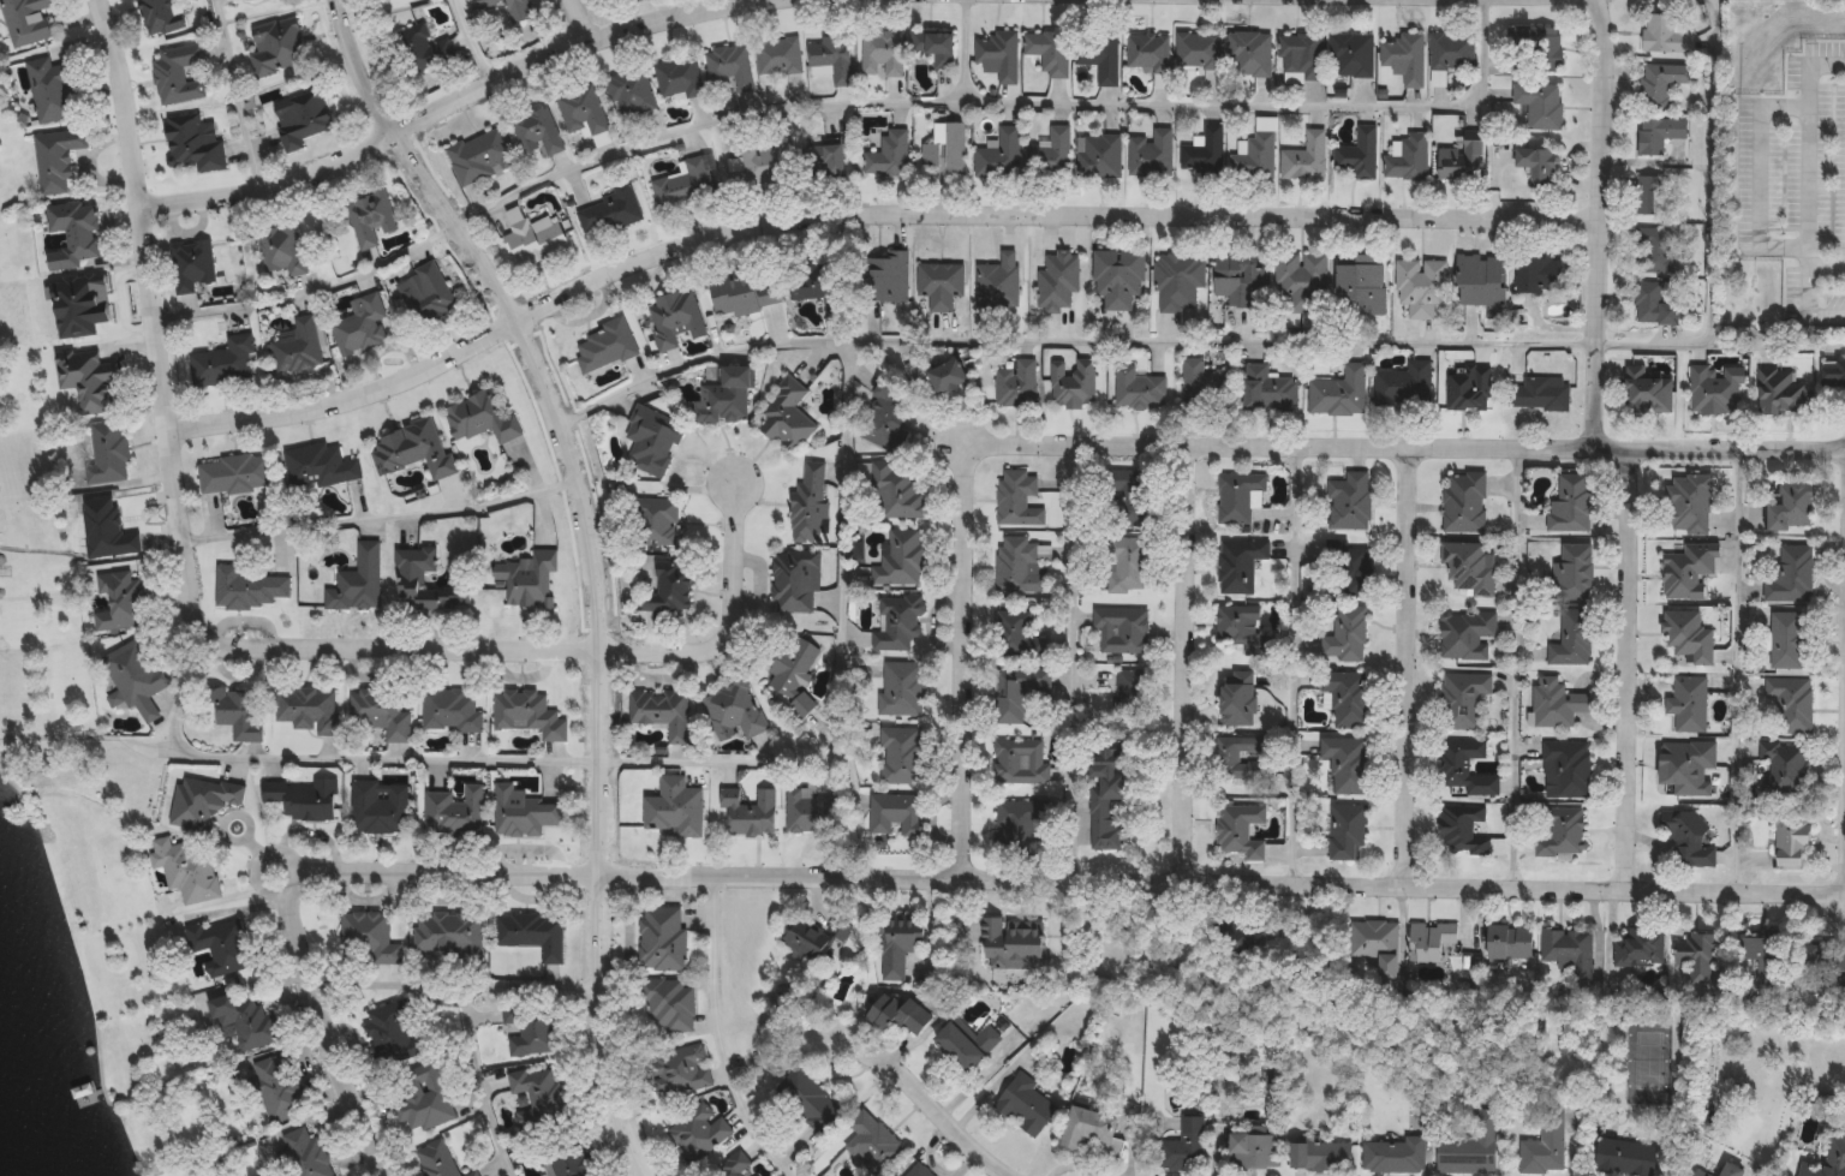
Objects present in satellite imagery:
building: (233, 0)
building: (384, 0)
road: (681, 7)
building: (512, 12)
building: (162, 16)
road: (581, 20)
building: (1665, 35)
road: (468, 42)
building: (1536, 46)
building: (935, 48)
building: (276, 49)
building: (422, 49)
building: (1050, 52)
building: (1198, 52)
building: (1148, 53)
building: (882, 54)
building: (999, 54)
building: (1099, 55)
building: (1249, 55)
building: (1351, 55)
building: (1450, 55)
building: (1301, 56)
building: (778, 58)
building: (832, 58)
building: (1405, 58)
building: (729, 68)
building: (178, 73)
building: (679, 79)
building: (1661, 84)
building: (49, 90)
road: (232, 95)
building: (629, 95)
road: (447, 101)
road: (846, 101)
building: (1540, 106)
building: (583, 114)
building: (301, 121)
building: (536, 132)
building: (1658, 135)
building: (191, 144)
building: (1047, 147)
building: (944, 151)
building: (1151, 154)
building: (1256, 154)
building: (1202, 155)
building: (1357, 155)
building: (479, 156)
building: (889, 156)
building: (999, 156)
building: (1098, 157)
building: (1306, 159)
building: (1408, 159)
building: (56, 160)
building: (820, 161)
building: (1461, 161)
building: (760, 163)
building: (1537, 166)
road: (1714, 172)
road: (1804, 177)
building: (686, 185)
building: (1650, 196)
building: (610, 213)
road: (861, 216)
building: (369, 217)
road: (1595, 223)
building: (72, 234)
building: (533, 238)
building: (281, 251)
building: (1653, 251)
building: (191, 265)
building: (1539, 275)
building: (884, 277)
building: (1118, 277)
building: (1235, 279)
building: (1480, 280)
building: (1057, 281)
building: (1178, 281)
building: (817, 282)
building: (998, 282)
building: (1302, 283)
building: (939, 285)
building: (1420, 286)
building: (1360, 288)
building: (428, 296)
building: (742, 297)
building: (1652, 305)
building: (673, 318)
building: (365, 324)
road: (1335, 344)
building: (298, 346)
building: (604, 346)
building: (222, 362)
building: (1833, 372)
building: (939, 374)
building: (86, 378)
building: (1202, 383)
building: (1016, 384)
building: (1073, 384)
building: (1403, 384)
building: (1139, 389)
building: (1267, 389)
building: (1715, 389)
building: (1468, 390)
building: (1647, 390)
building: (1780, 392)
building: (1338, 393)
building: (1539, 394)
building: (723, 398)
road: (844, 404)
building: (787, 416)
building: (883, 416)
building: (480, 418)
building: (652, 441)
road: (1188, 446)
building: (412, 449)
building: (106, 453)
building: (318, 466)
building: (234, 473)
building: (897, 493)
building: (1129, 496)
building: (1237, 496)
building: (1017, 499)
building: (1349, 502)
building: (1463, 502)
building: (1569, 502)
building: (1686, 502)
building: (808, 505)
building: (1791, 508)
road: (382, 518)
road: (180, 519)
building: (655, 521)
building: (107, 530)
road: (597, 560)
building: (900, 560)
building: (1238, 563)
building: (1125, 565)
building: (1019, 566)
building: (1469, 567)
building: (1348, 571)
building: (1685, 572)
building: (1571, 573)
building: (1791, 575)
building: (526, 579)
building: (795, 580)
building: (357, 581)
building: (422, 583)
building: (669, 589)
building: (246, 590)
building: (119, 601)
building: (898, 622)
road: (730, 623)
building: (1122, 628)
building: (1241, 629)
building: (1467, 634)
building: (1574, 634)
building: (1017, 635)
building: (1345, 635)
building: (1688, 637)
building: (1786, 640)
road: (1074, 663)
road: (1186, 663)
road: (1292, 664)
road: (1408, 665)
road: (1513, 668)
road: (1630, 669)
road: (1736, 670)
building: (793, 673)
building: (135, 676)
building: (902, 688)
building: (1022, 696)
building: (1130, 697)
building: (1347, 697)
building: (1462, 700)
building: (1556, 702)
building: (1688, 703)
building: (1791, 704)
building: (305, 710)
building: (450, 710)
building: (735, 710)
building: (662, 712)
building: (527, 714)
building: (237, 715)
building: (378, 715)
building: (901, 756)
building: (1238, 757)
building: (1017, 760)
road: (563, 762)
building: (1347, 763)
building: (1569, 766)
building: (1688, 766)
building: (1464, 768)
building: (1783, 768)
building: (1105, 798)
building: (304, 799)
building: (202, 801)
building: (378, 807)
building: (673, 807)
building: (455, 811)
building: (811, 811)
building: (523, 812)
building: (751, 813)
building: (894, 814)
building: (1017, 825)
building: (1237, 829)
building: (1461, 829)
building: (1347, 831)
building: (1559, 831)
building: (1688, 837)
building: (1791, 842)
road: (259, 861)
building: (186, 868)
road: (1224, 882)
road: (295, 884)
building: (448, 932)
building: (532, 935)
building: (368, 939)
building: (810, 939)
building: (1510, 942)
building: (663, 943)
building: (1013, 943)
building: (1375, 943)
building: (1431, 943)
building: (220, 947)
building: (900, 947)
building: (1638, 947)
building: (1566, 948)
building: (1765, 951)
building: (1696, 956)
building: (1825, 959)
road: (458, 996)
building: (668, 1004)
building: (898, 1015)
building: (246, 1020)
building: (531, 1034)
building: (390, 1037)
road: (720, 1037)
building: (966, 1045)
building: (680, 1071)
road: (478, 1087)
building: (275, 1092)
building: (419, 1098)
building: (808, 1100)
building: (543, 1103)
building: (1025, 1105)
road: (942, 1116)
building: (1087, 1128)
building: (698, 1133)
building: (872, 1144)
building: (1469, 1146)
building: (1182, 1147)
building: (1545, 1147)
building: (304, 1152)
building: (1253, 1152)
building: (1318, 1157)
building: (1395, 1157)
building: (1625, 1158)
building: (436, 1159)
building: (1831, 1159)
building: (568, 1163)
building: (734, 1166)
building: (1731, 1170)
building: (918, 1171)
building: (1700, 1172)
building: (471, 1174)
road: (787, 1174)

